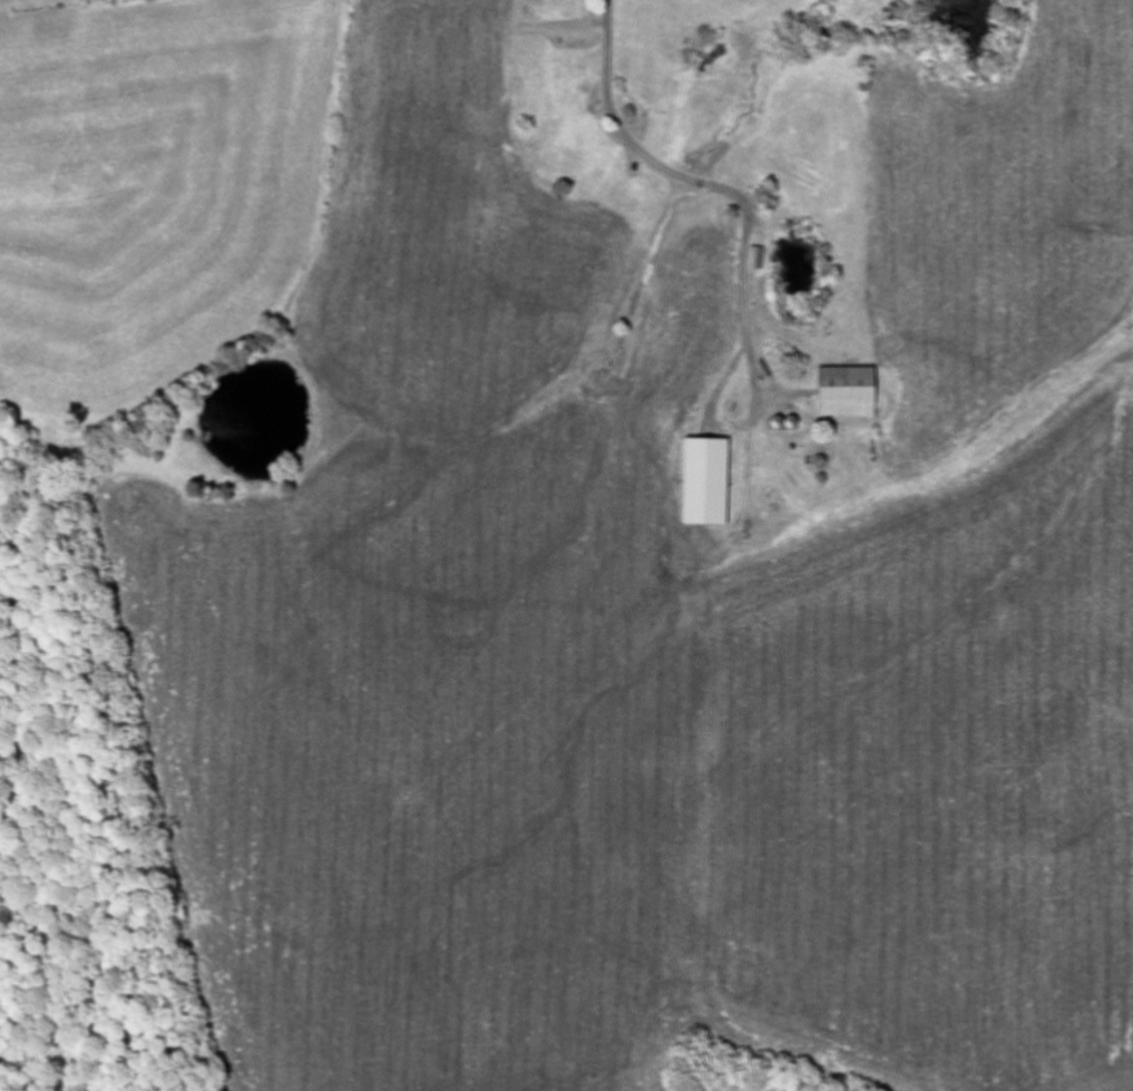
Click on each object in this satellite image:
road: (585, 40)
building: (755, 260)
building: (843, 394)
building: (703, 484)

